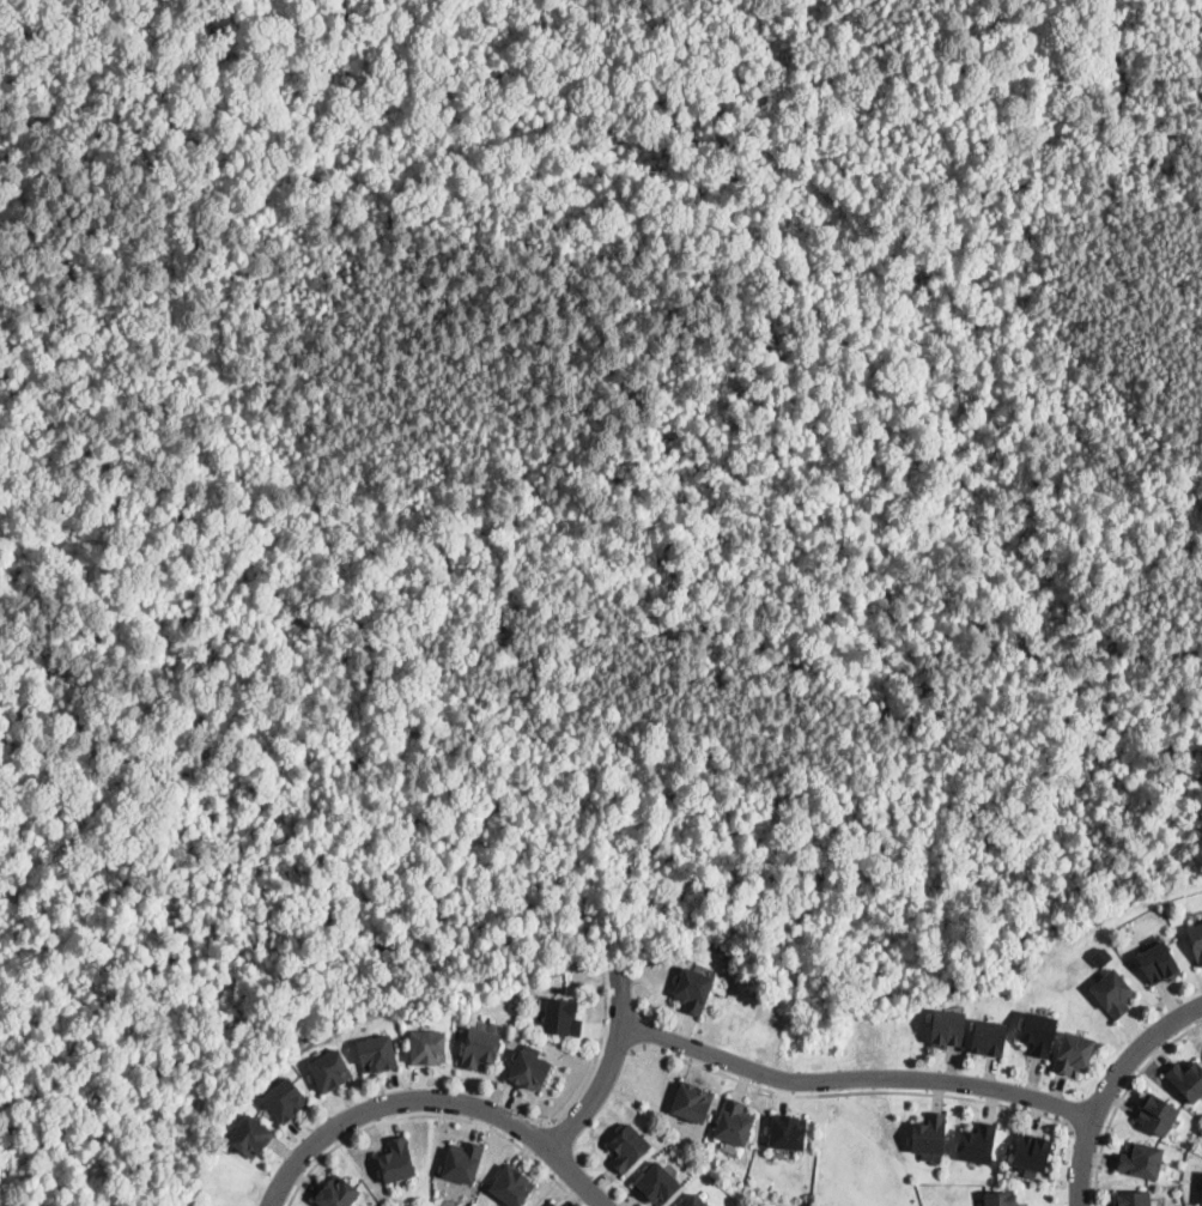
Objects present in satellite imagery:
building: (1196, 940)
building: (654, 953)
building: (1159, 963)
building: (693, 989)
building: (1113, 992)
building: (561, 1017)
building: (948, 1026)
building: (1039, 1031)
building: (990, 1036)
road: (617, 1040)
building: (429, 1046)
building: (480, 1047)
building: (1074, 1052)
building: (377, 1053)
road: (594, 1057)
road: (608, 1066)
building: (330, 1069)
building: (530, 1069)
road: (1141, 1069)
building: (1186, 1079)
road: (855, 1080)
road: (1110, 1086)
road: (851, 1092)
building: (285, 1097)
road: (433, 1099)
building: (693, 1101)
building: (1157, 1113)
road: (432, 1115)
building: (735, 1121)
building: (789, 1131)
road: (1086, 1133)
building: (930, 1134)
building: (250, 1135)
road: (532, 1135)
building: (978, 1141)
building: (629, 1146)
building: (1033, 1151)
building: (397, 1159)
building: (1142, 1160)
building: (463, 1162)
road: (1095, 1171)
building: (658, 1183)
building: (512, 1184)
building: (338, 1193)
building: (1001, 1198)
building: (1134, 1198)
building: (1201, 1200)
building: (696, 1201)
building: (553, 1204)

